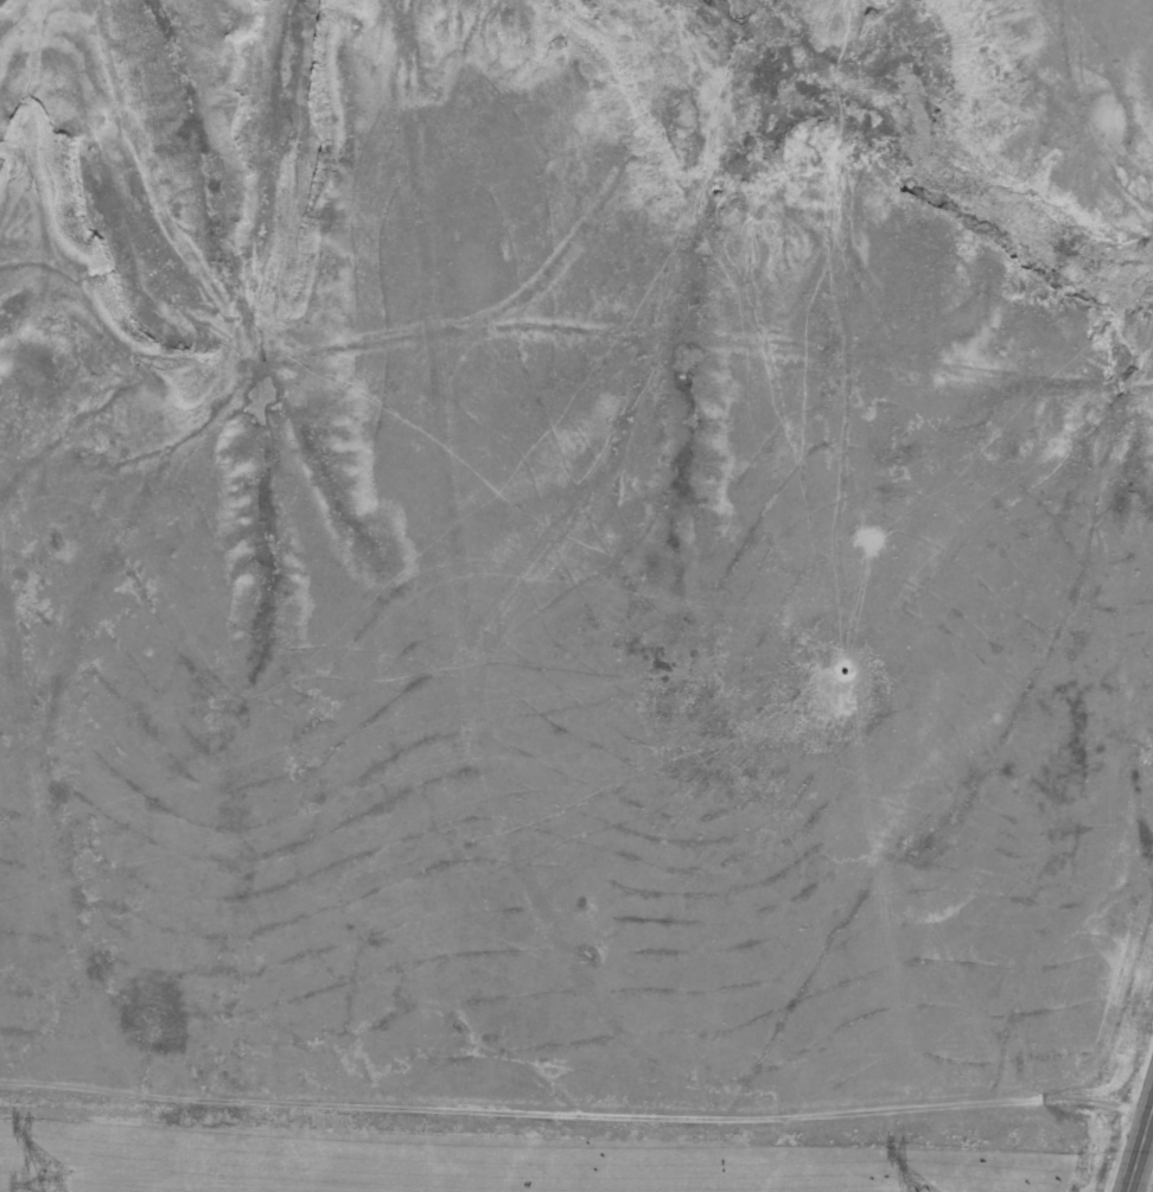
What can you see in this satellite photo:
road: (458, 710)
road: (567, 1113)
road: (1138, 1140)
power tower: (53, 1184)

